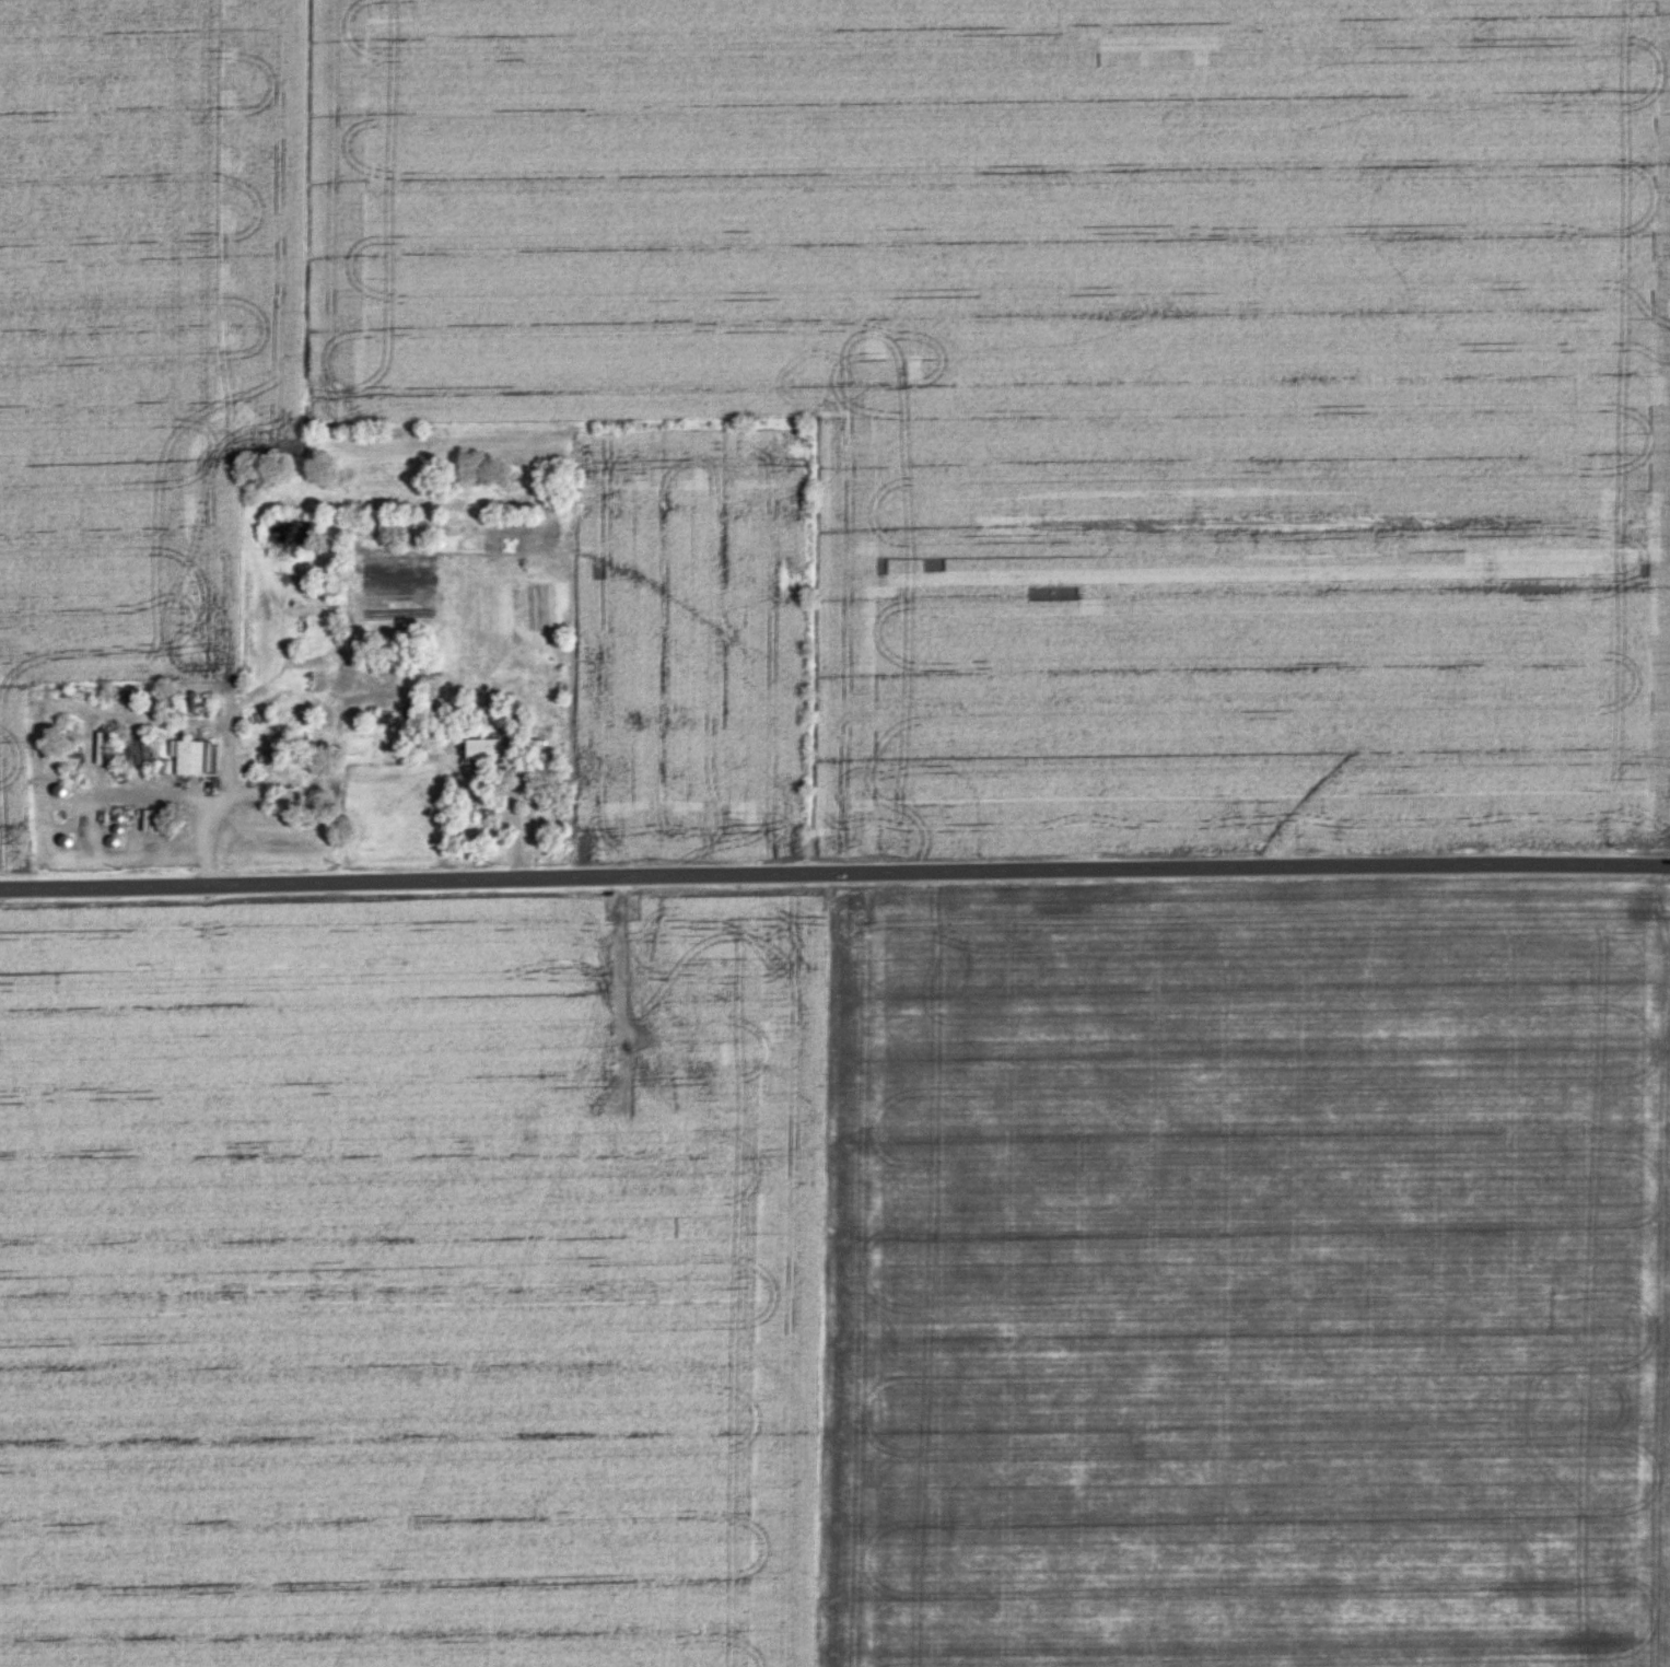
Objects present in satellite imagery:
building: (481, 749)
building: (188, 756)
road: (155, 793)
road: (215, 798)
road: (515, 809)
road: (834, 872)

